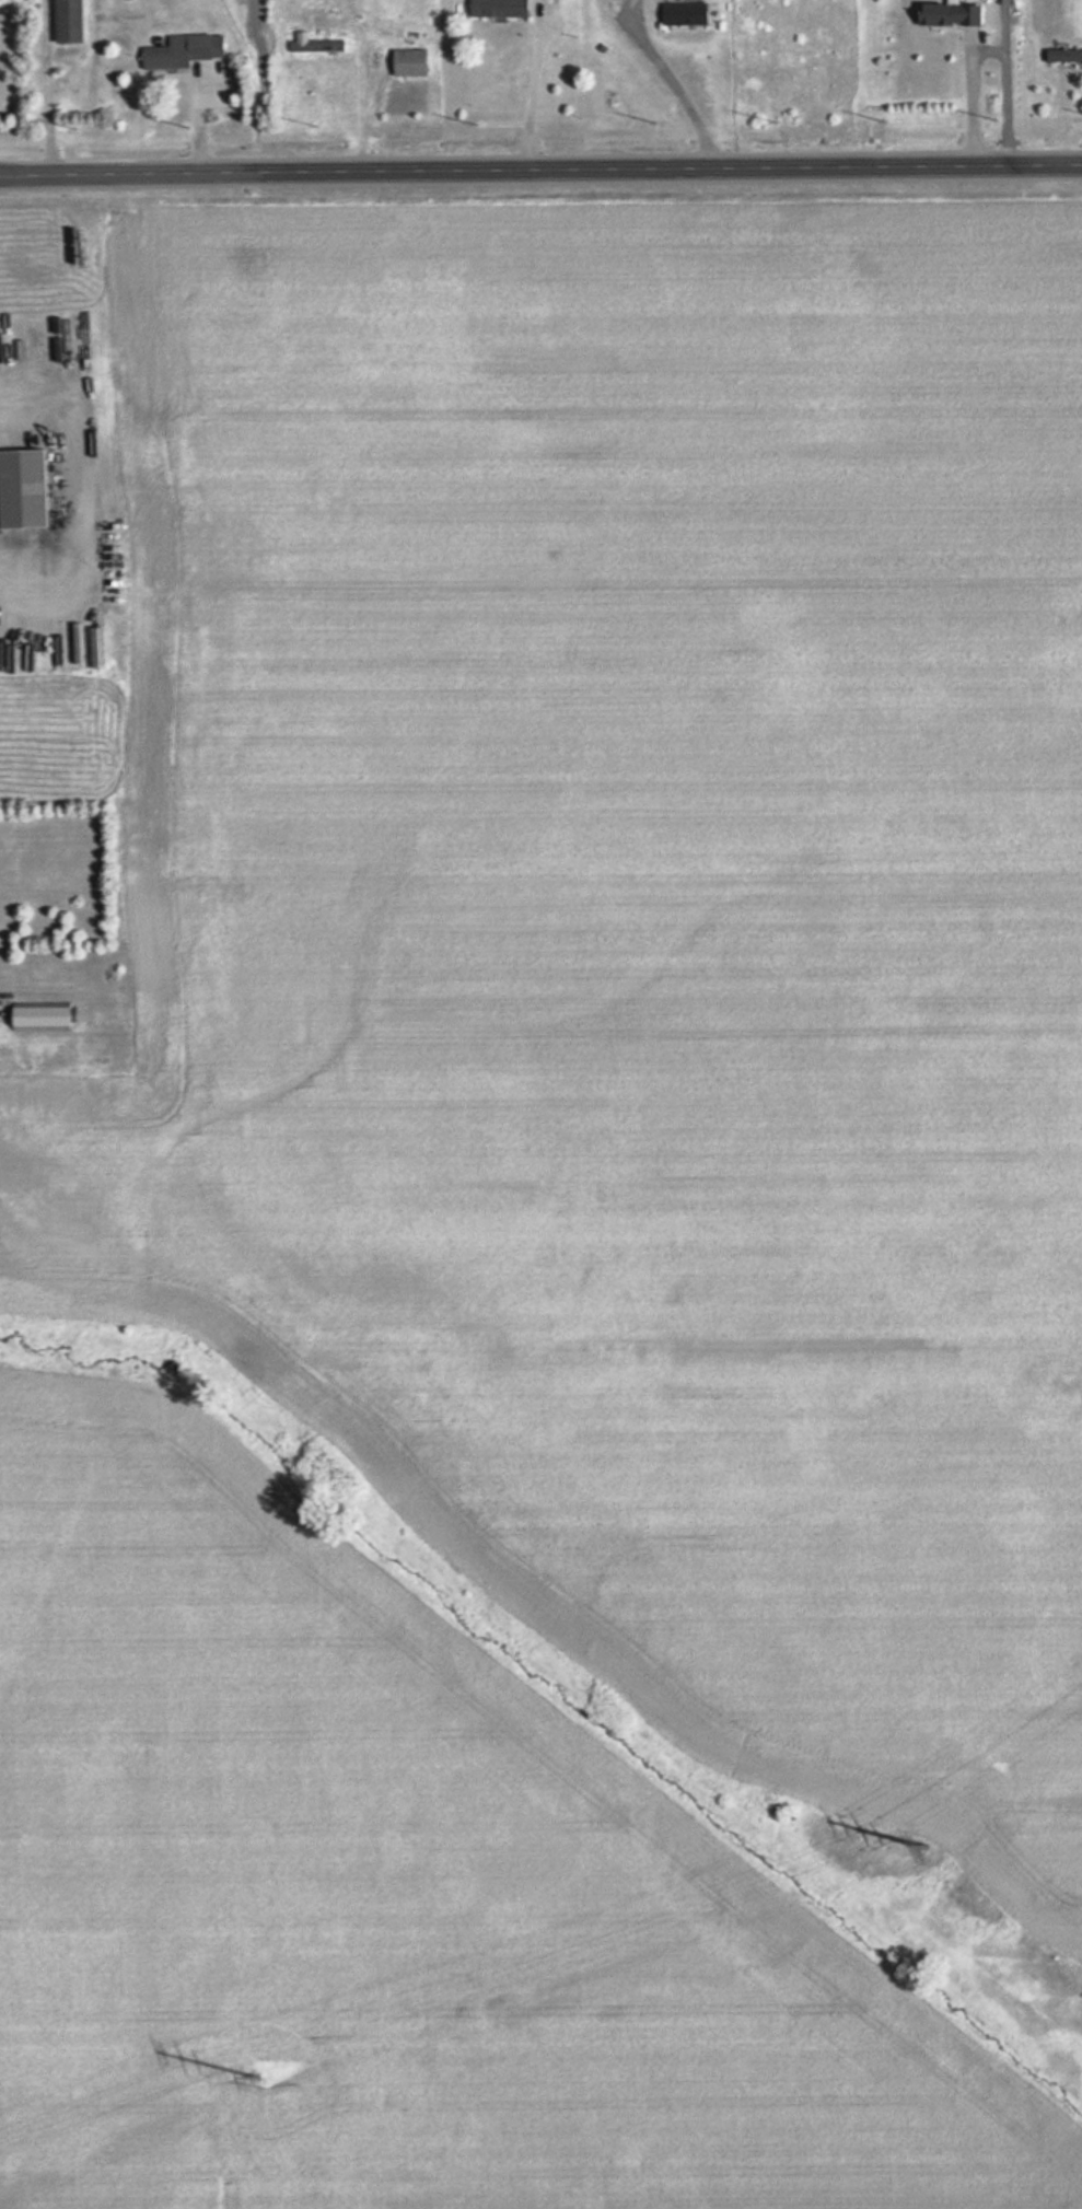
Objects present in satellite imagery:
building: (498, 9)
building: (684, 14)
building: (949, 15)
building: (67, 22)
building: (315, 46)
building: (183, 53)
building: (1063, 56)
building: (408, 63)
road: (539, 95)
road: (540, 166)
building: (22, 488)
building: (40, 1016)
power tower: (928, 1849)
power tower: (268, 2082)

